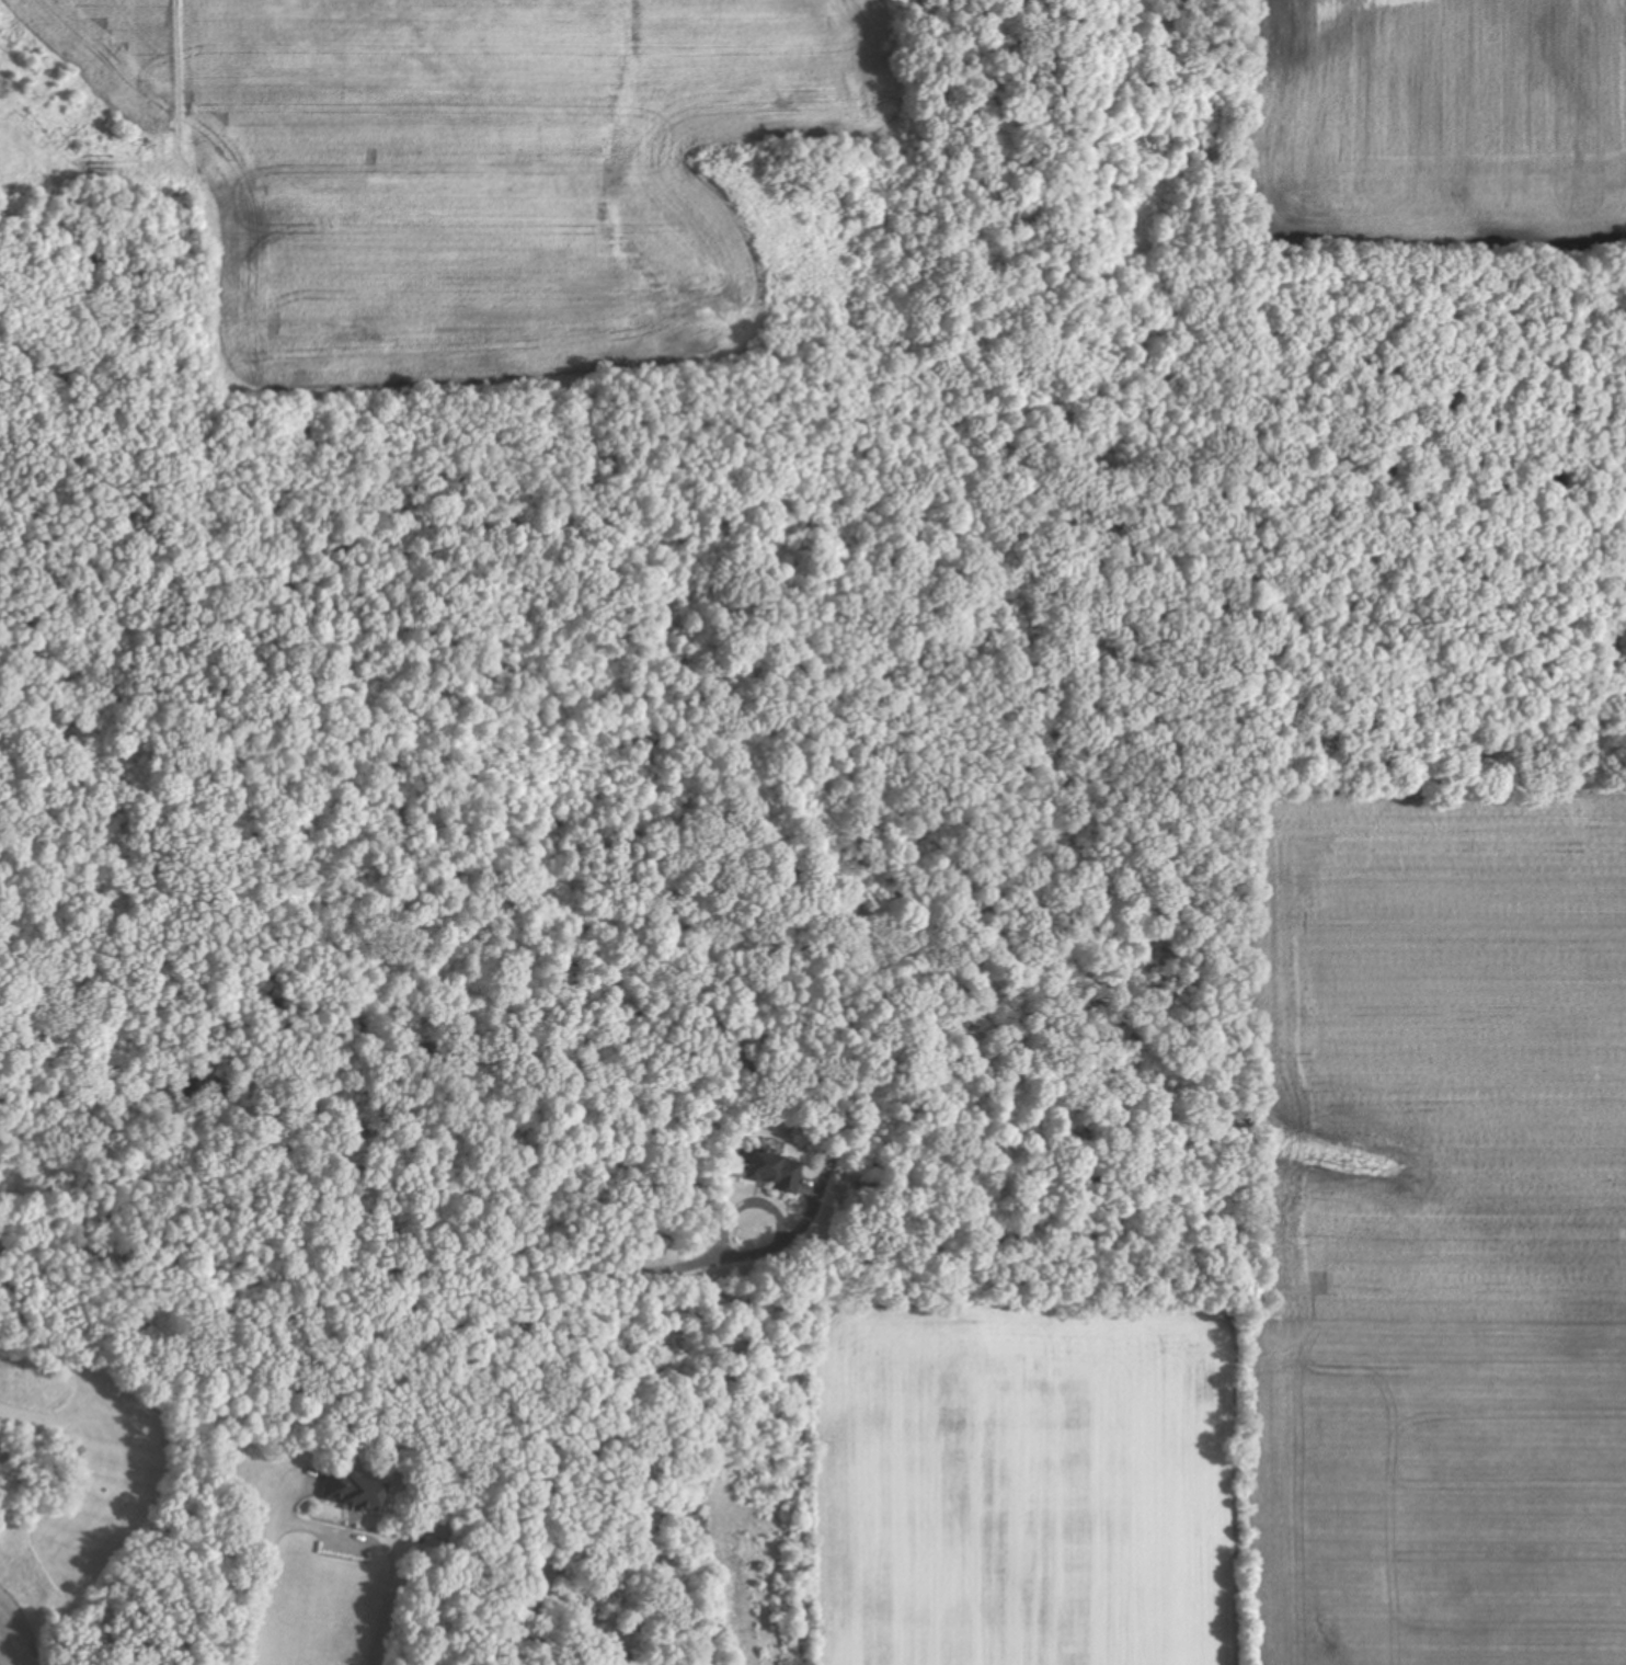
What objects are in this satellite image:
building: (772, 1171)
building: (353, 1491)
road: (259, 1574)

